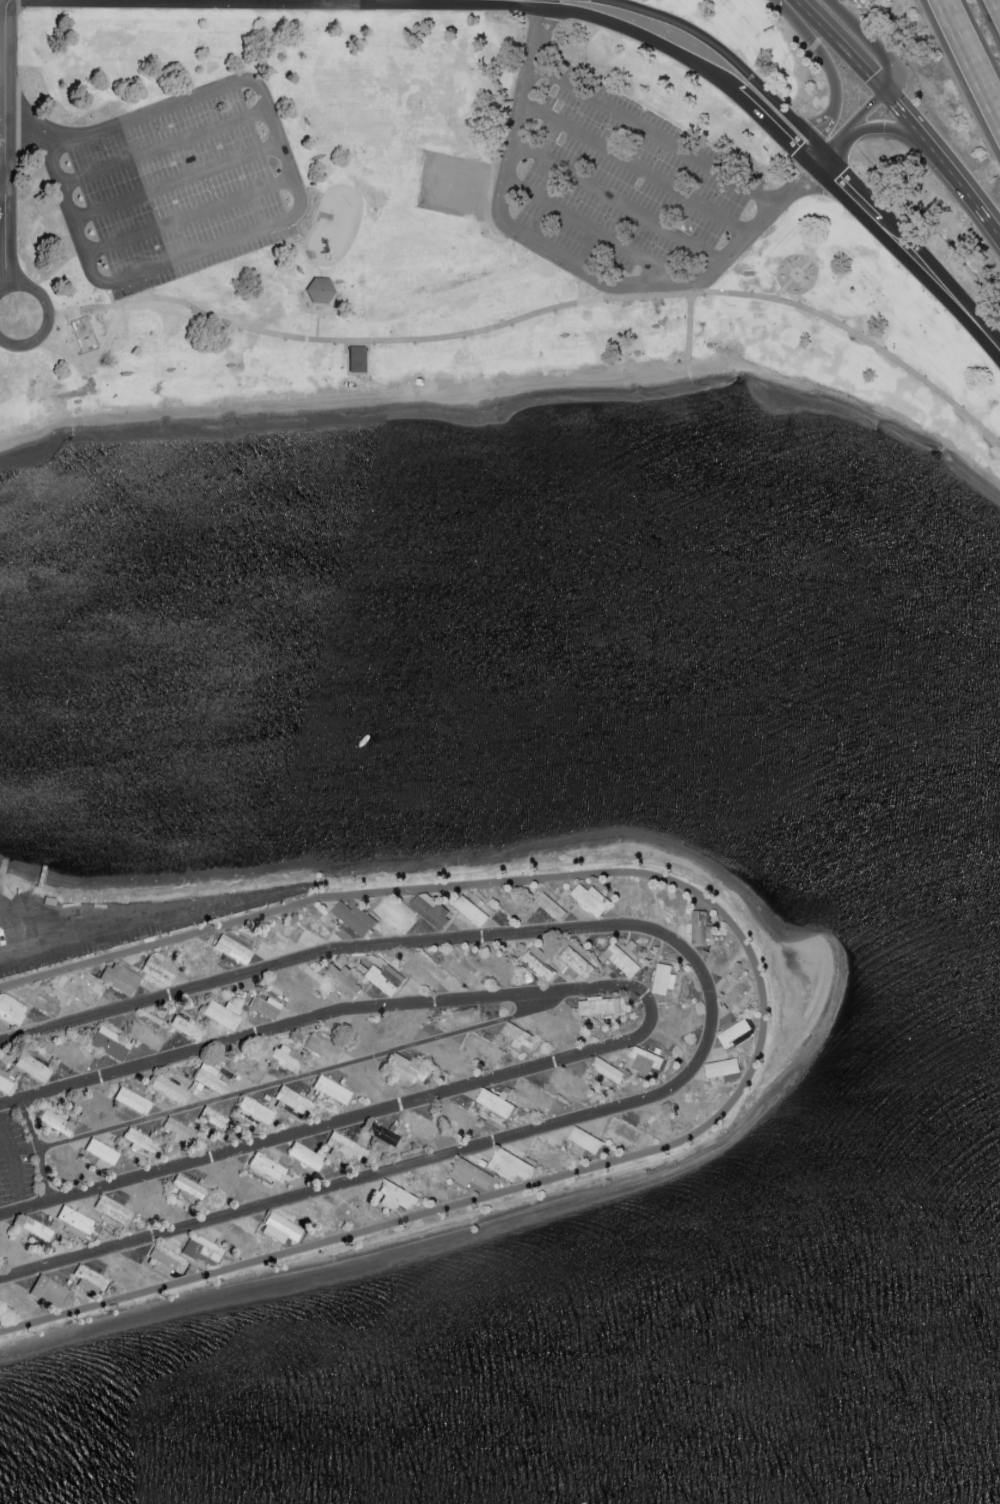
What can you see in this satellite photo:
road: (999, 0)
road: (616, 1)
road: (947, 6)
road: (866, 41)
road: (843, 45)
road: (722, 51)
road: (817, 51)
road: (687, 58)
road: (975, 62)
traffic signals: (890, 91)
road: (908, 116)
road: (31, 126)
road: (853, 129)
road: (889, 131)
road: (821, 136)
road: (655, 138)
road: (279, 140)
road: (4, 143)
road: (162, 146)
road: (824, 150)
road: (812, 164)
road: (636, 172)
road: (837, 177)
road: (800, 180)
road: (174, 182)
parking lot: (174, 185)
road: (2, 186)
road: (964, 187)
parking lot: (620, 191)
road: (618, 204)
road: (187, 218)
road: (70, 225)
park: (428, 229)
road: (590, 232)
road: (557, 260)
road: (920, 264)
road: (113, 295)
road: (49, 316)
road: (541, 316)
road: (93, 354)
pier: (45, 819)
road: (43, 866)
road: (1, 869)
road: (35, 899)
building: (591, 899)
road: (5, 904)
building: (551, 905)
building: (432, 909)
building: (472, 910)
road: (152, 916)
building: (356, 917)
parking lot: (109, 922)
building: (702, 927)
road: (381, 944)
building: (232, 948)
building: (540, 962)
building: (625, 963)
building: (577, 964)
building: (157, 969)
building: (119, 977)
building: (386, 978)
building: (664, 978)
building: (345, 980)
building: (264, 1005)
building: (601, 1005)
building: (11, 1009)
building: (222, 1012)
road: (763, 1018)
building: (185, 1026)
road: (267, 1029)
building: (521, 1038)
building: (107, 1041)
building: (321, 1046)
building: (286, 1056)
building: (647, 1060)
building: (32, 1066)
building: (722, 1067)
building: (408, 1068)
building: (609, 1070)
building: (209, 1077)
road: (294, 1077)
building: (4, 1080)
building: (168, 1088)
building: (331, 1088)
building: (131, 1099)
building: (293, 1100)
building: (497, 1103)
road: (394, 1104)
building: (254, 1109)
building: (214, 1117)
building: (57, 1121)
building: (178, 1128)
building: (382, 1135)
building: (586, 1139)
building: (141, 1141)
road: (5, 1145)
road: (38, 1147)
building: (344, 1147)
building: (101, 1150)
building: (305, 1155)
parking lot: (16, 1161)
building: (510, 1164)
road: (16, 1165)
building: (267, 1165)
road: (372, 1174)
building: (472, 1174)
building: (188, 1185)
building: (396, 1195)
building: (112, 1208)
building: (75, 1218)
building: (36, 1227)
building: (281, 1227)
building: (203, 1248)
building: (166, 1259)
building: (90, 1279)
building: (50, 1291)

